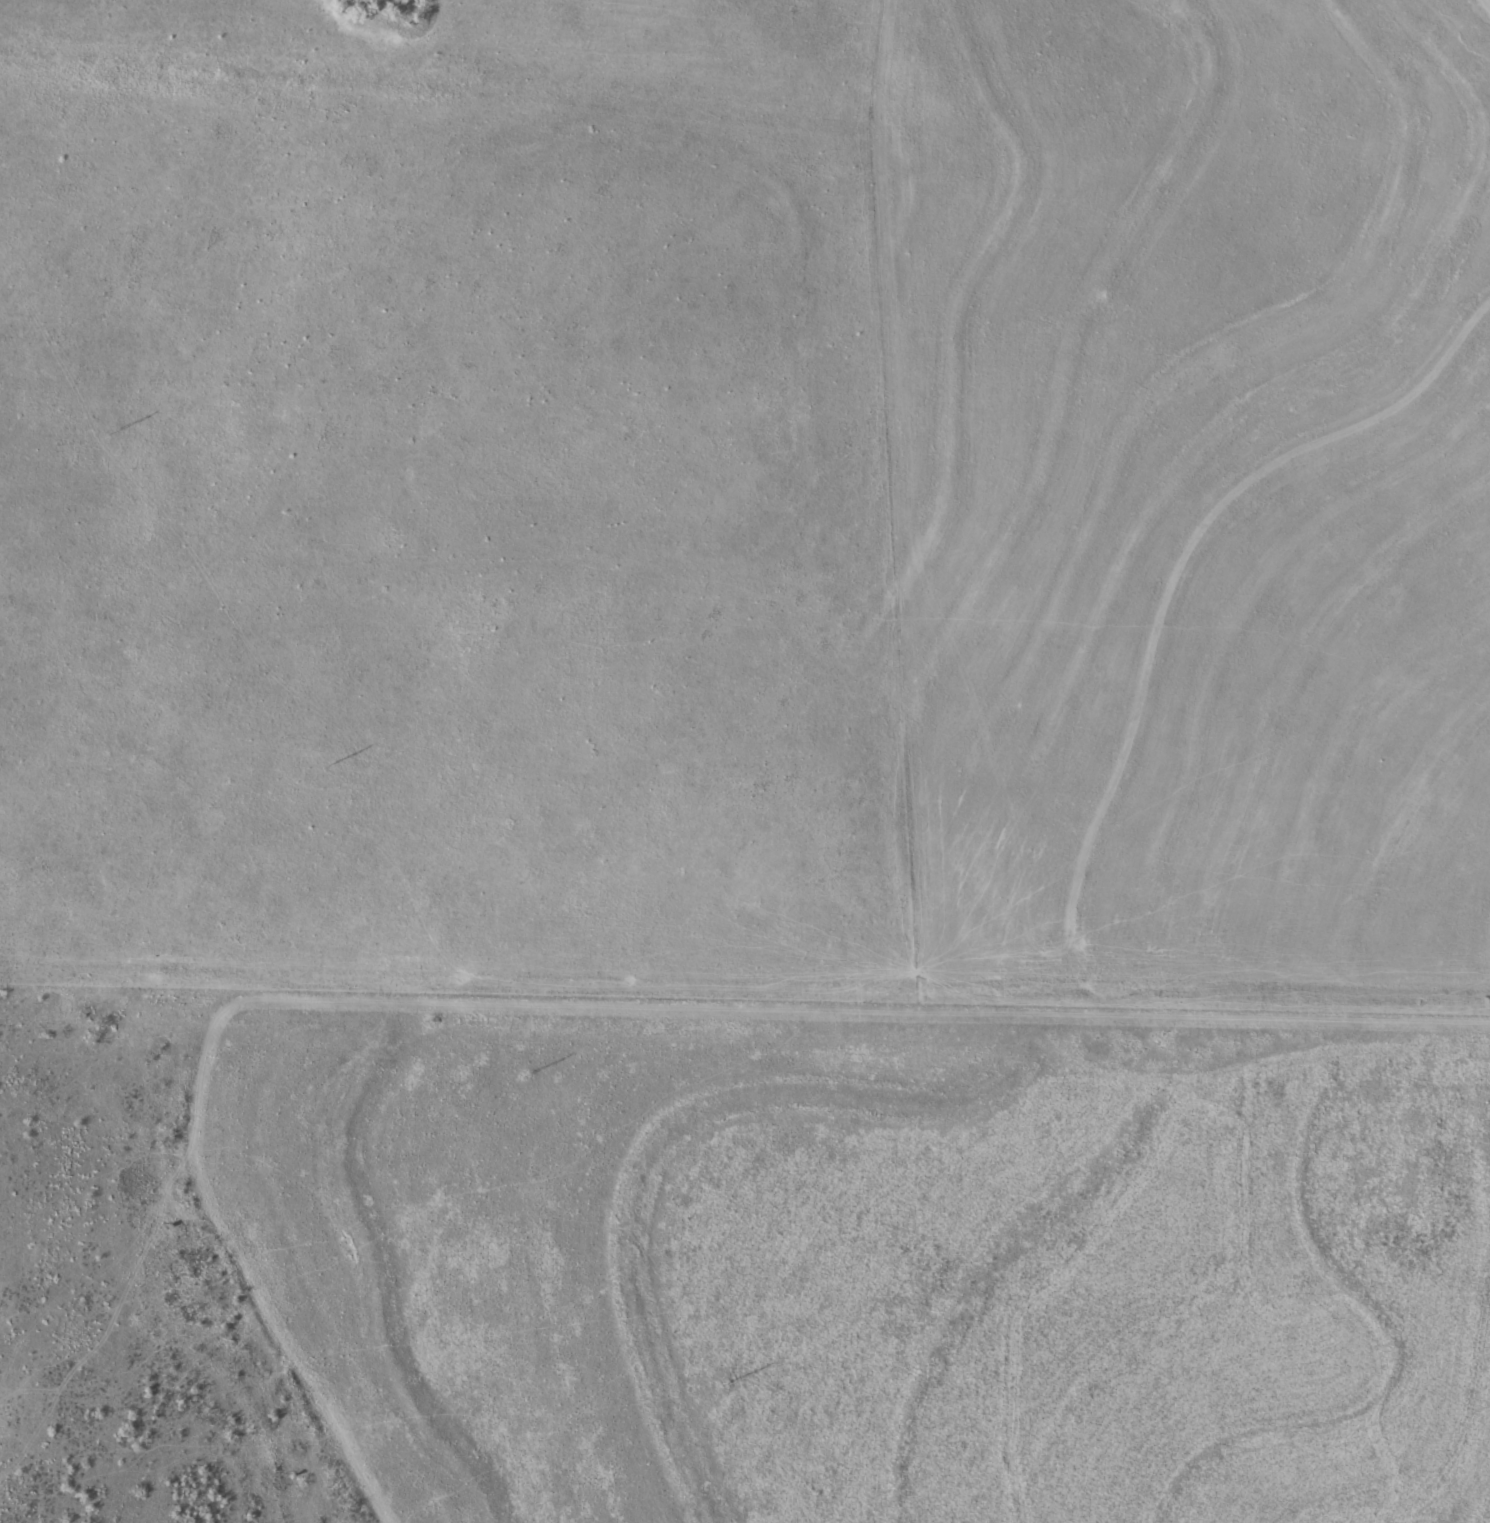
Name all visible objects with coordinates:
power tower: (114, 432)
power tower: (330, 767)
power tower: (529, 1075)
power tower: (728, 1384)

